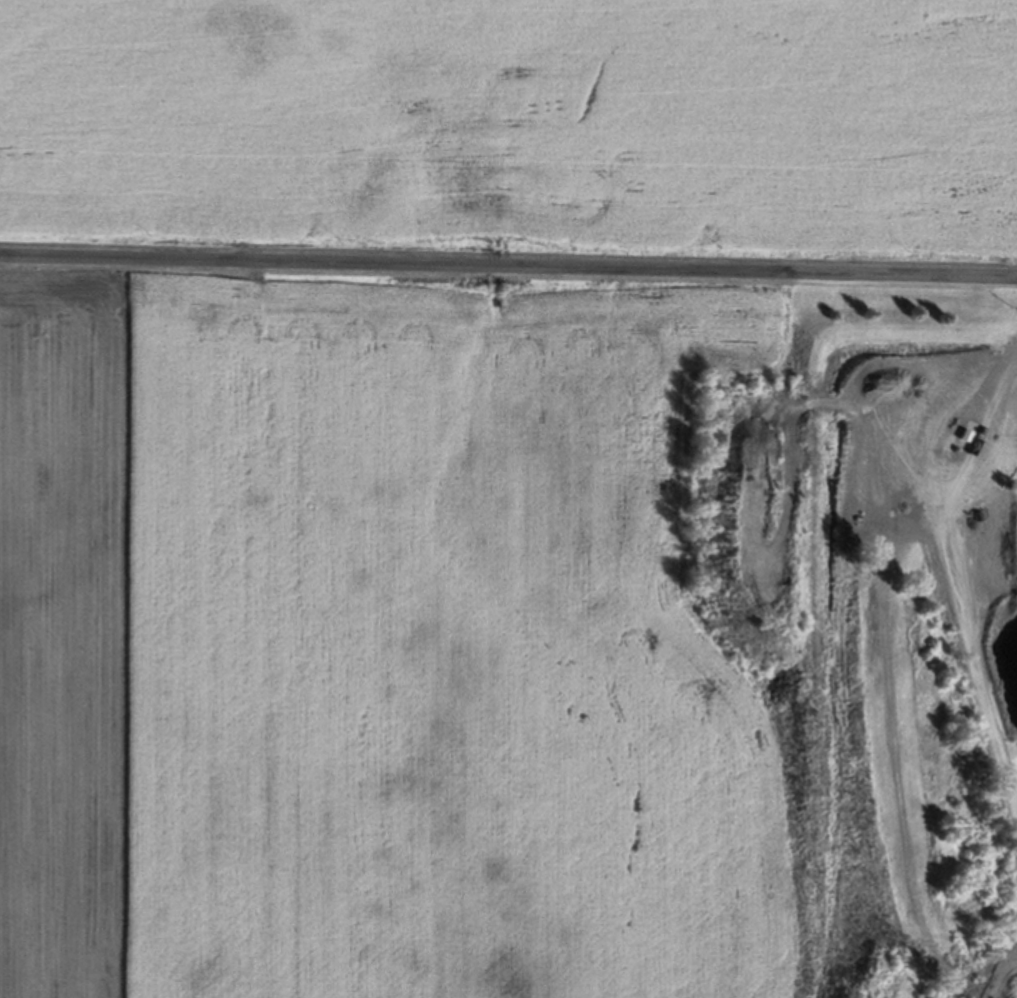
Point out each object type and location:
road: (508, 266)
quarry: (882, 618)

